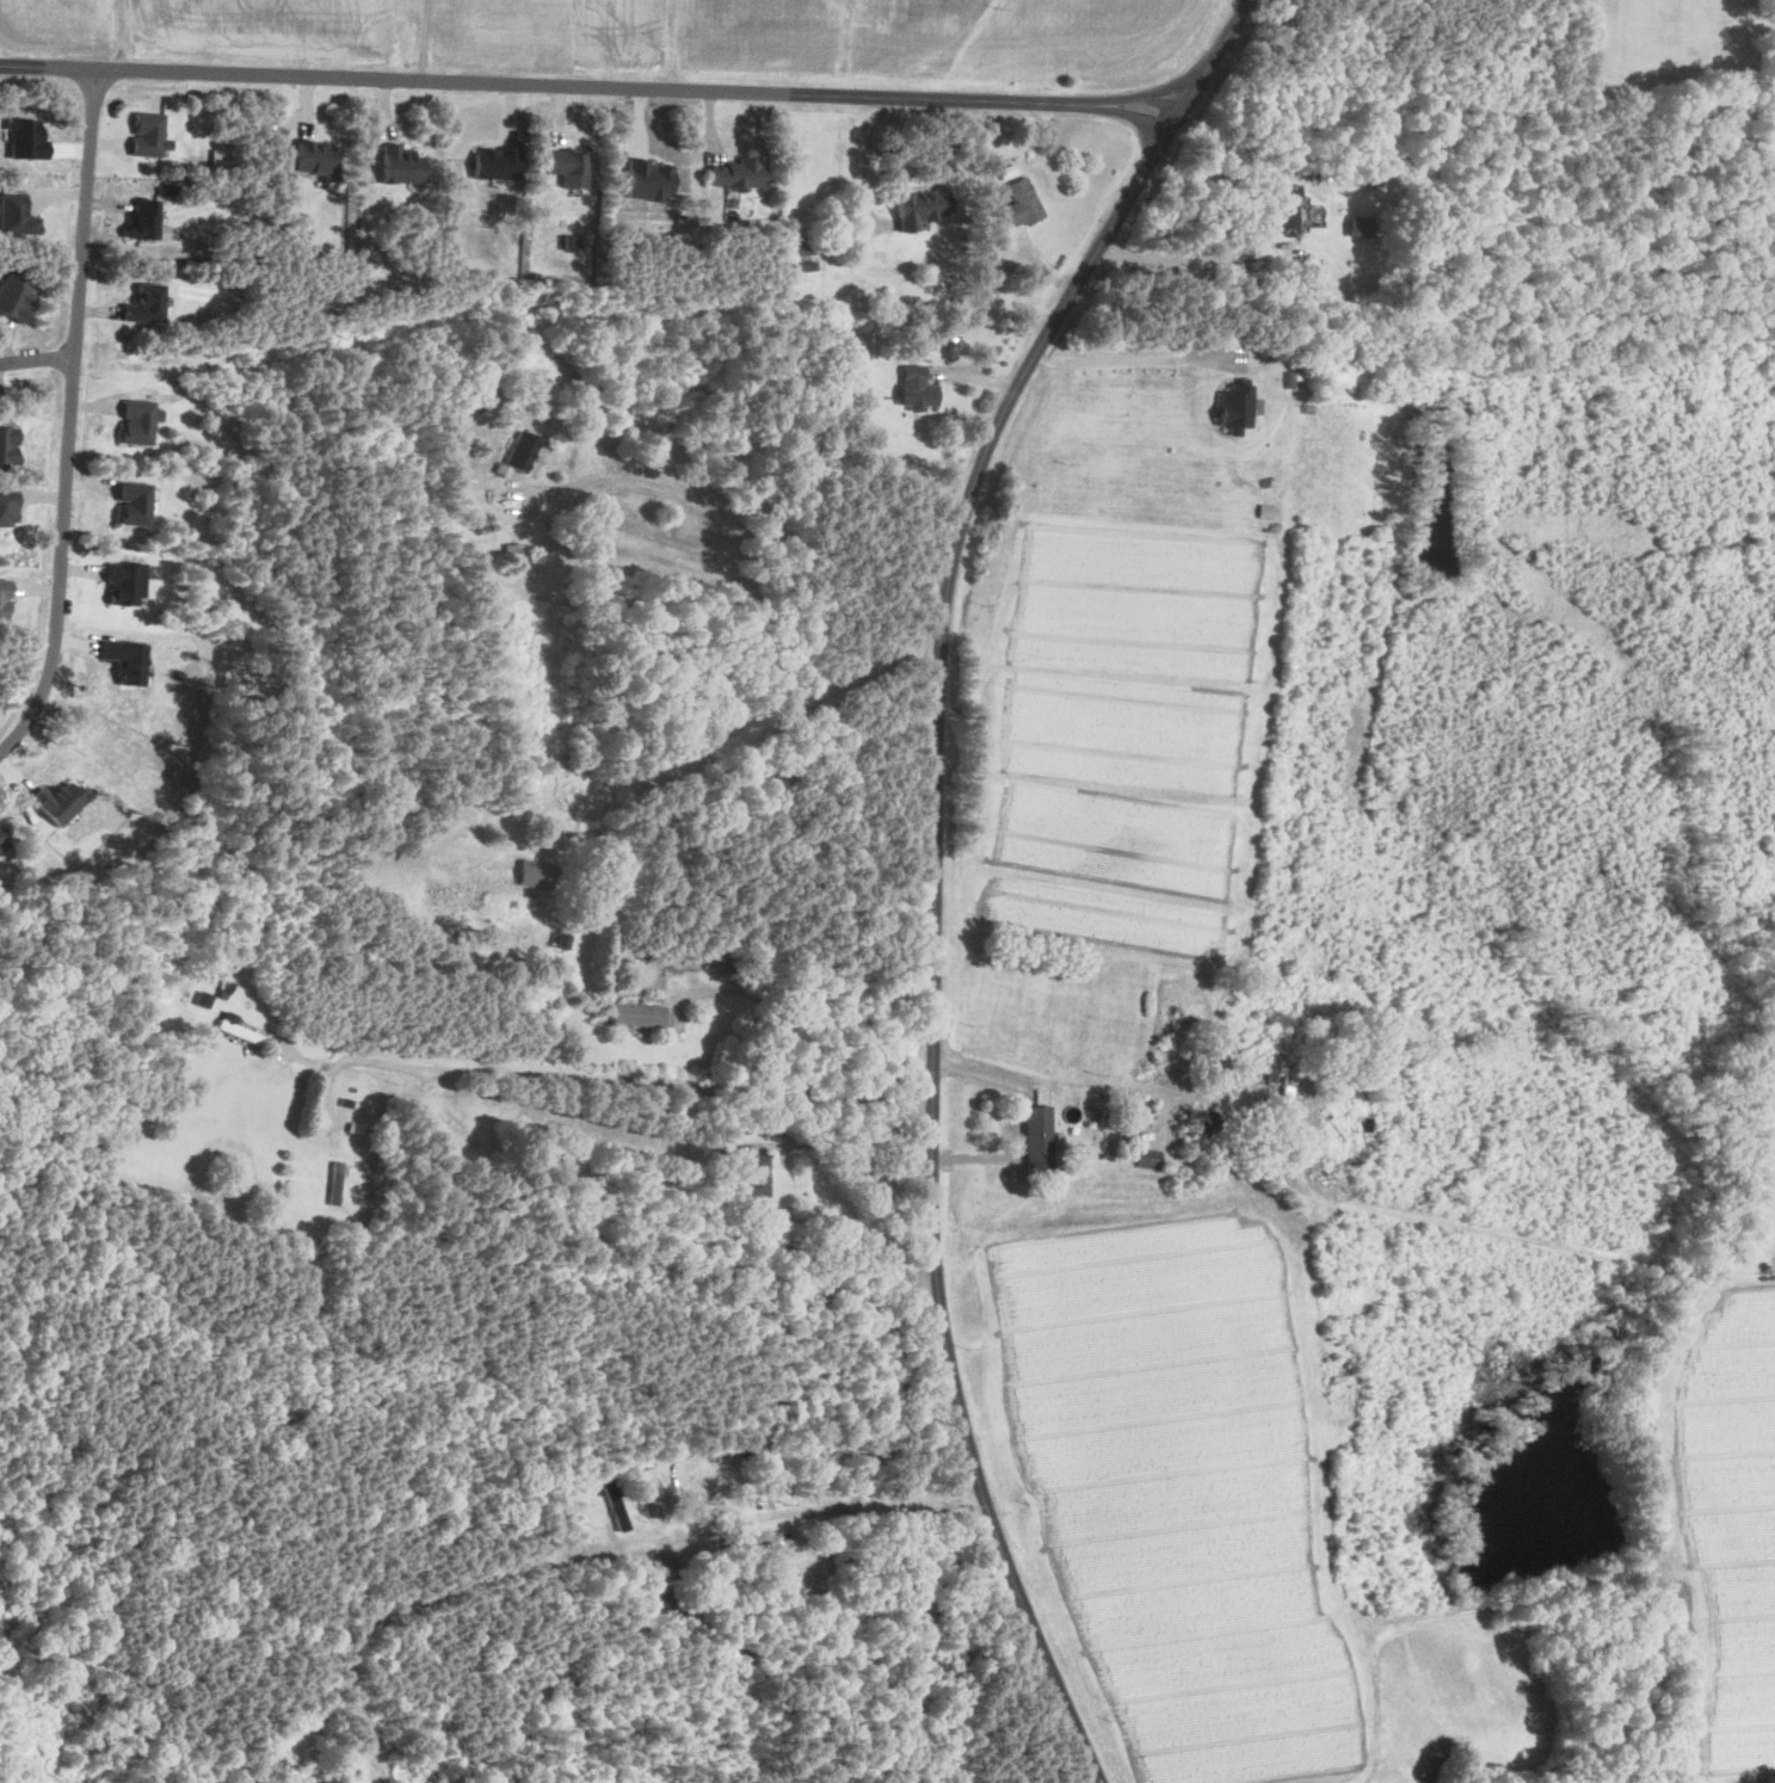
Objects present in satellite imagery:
road: (593, 91)
building: (142, 135)
building: (303, 158)
building: (491, 164)
building: (395, 166)
building: (563, 166)
building: (732, 174)
building: (643, 180)
road: (1170, 184)
building: (1018, 204)
building: (913, 209)
building: (13, 217)
building: (1283, 217)
building: (140, 223)
building: (1357, 226)
road: (1172, 258)
building: (142, 306)
road: (1145, 351)
road: (37, 359)
building: (911, 389)
building: (1231, 409)
road: (68, 421)
building: (132, 422)
building: (6, 446)
building: (518, 452)
building: (129, 505)
building: (6, 510)
building: (119, 585)
building: (1, 600)
building: (121, 662)
building: (51, 803)
building: (1, 844)
road: (938, 864)
building: (529, 875)
road: (830, 995)
building: (636, 1014)
building: (232, 1028)
road: (271, 1060)
road: (1076, 1086)
road: (610, 1097)
building: (1190, 1123)
building: (1033, 1135)
building: (1145, 1159)
building: (753, 1174)
road: (768, 1524)

